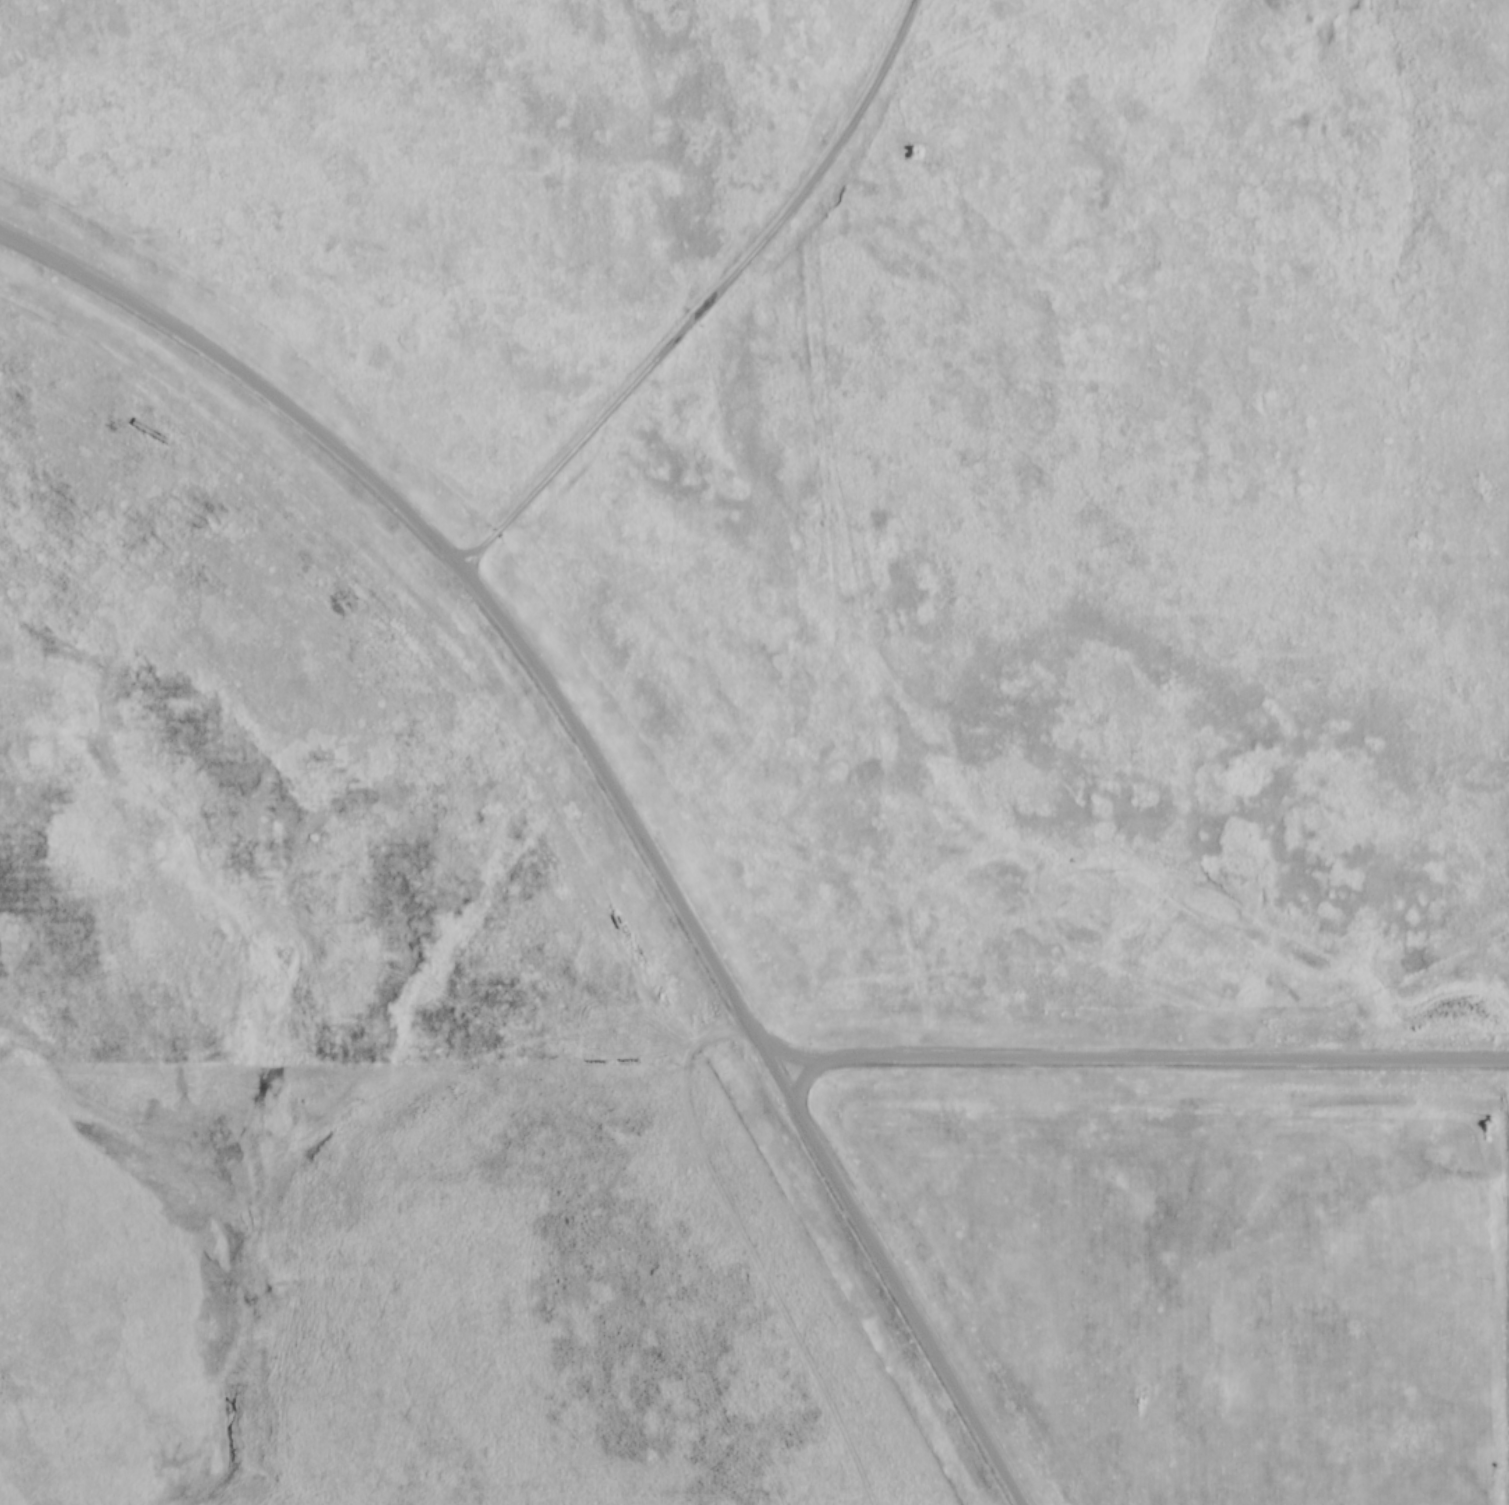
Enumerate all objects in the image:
road: (665, 879)
road: (896, 1281)

